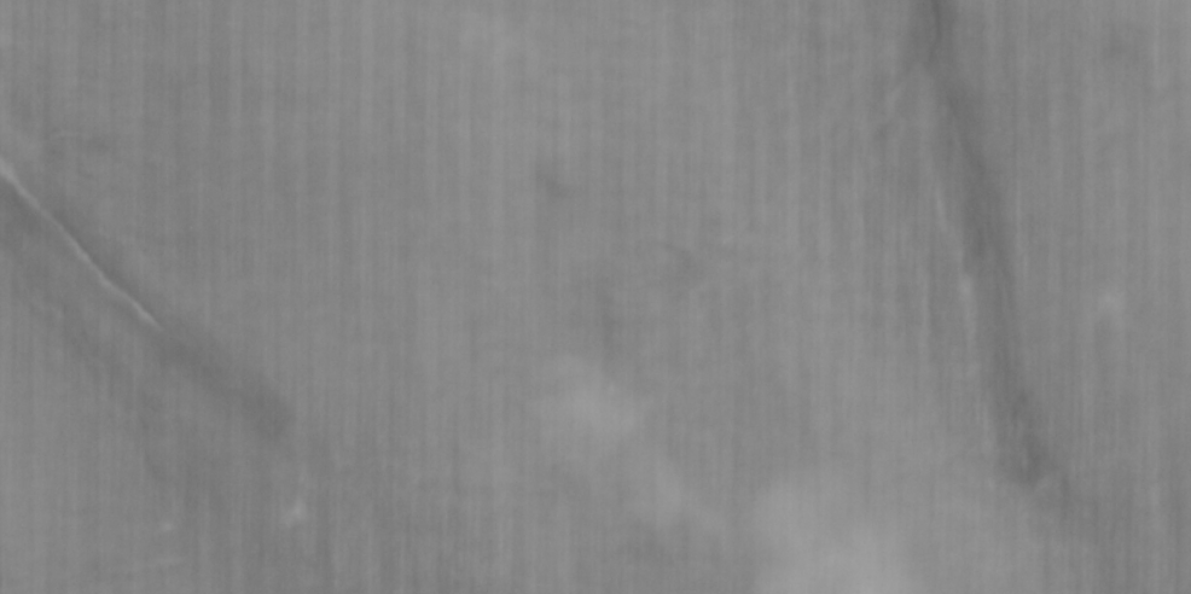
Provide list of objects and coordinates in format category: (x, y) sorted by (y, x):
crop: (595, 297)

